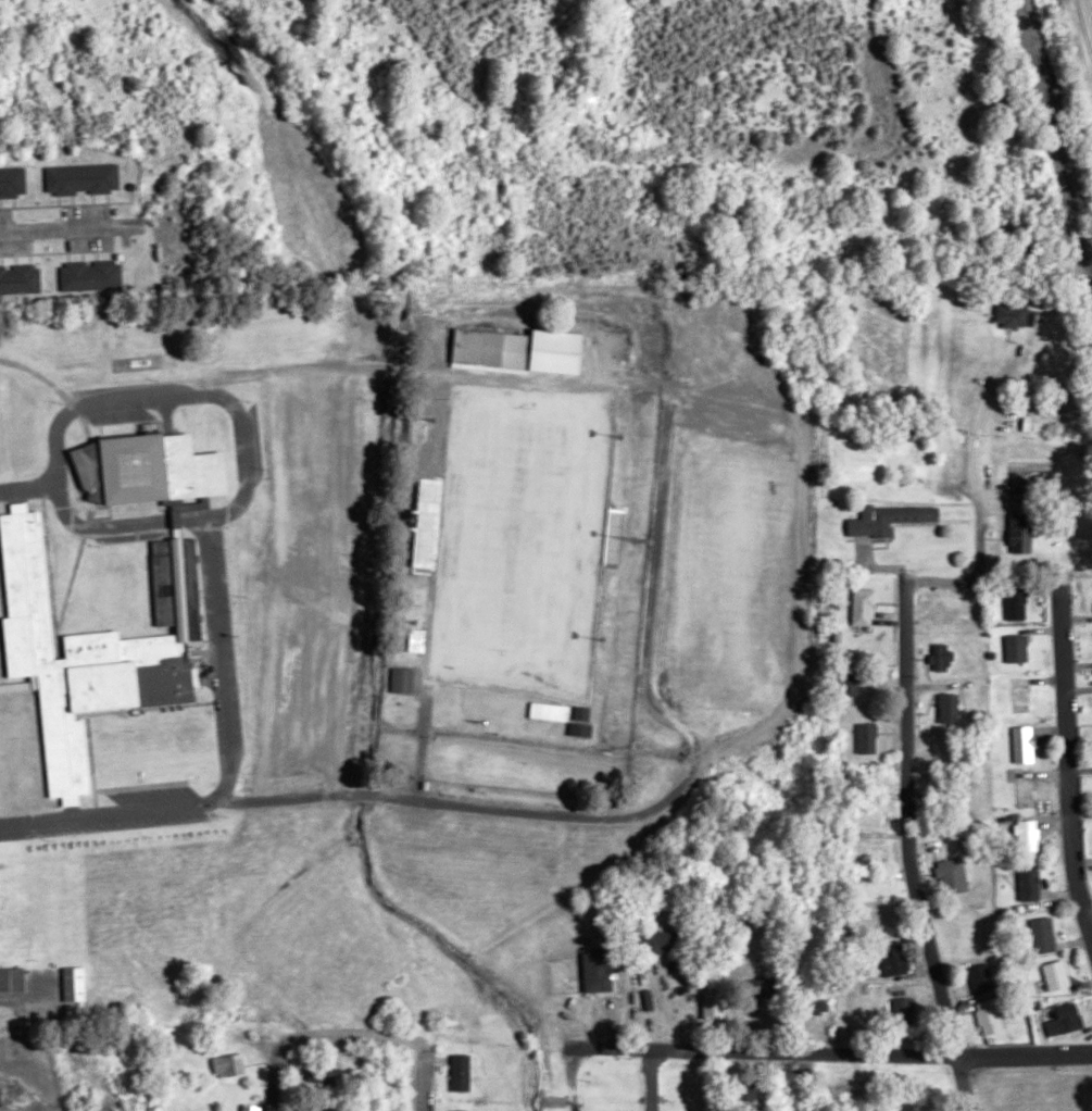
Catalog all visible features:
railway: (1055, 143)
building: (81, 179)
building: (12, 183)
road: (58, 233)
building: (90, 275)
building: (20, 279)
building: (1011, 316)
building: (477, 348)
road: (238, 437)
building: (152, 470)
road: (27, 486)
road: (969, 489)
building: (888, 517)
building: (427, 525)
building: (1020, 533)
building: (613, 535)
building: (1014, 601)
building: (862, 606)
building: (92, 648)
building: (1015, 648)
building: (940, 657)
building: (401, 681)
building: (849, 684)
building: (1019, 695)
building: (946, 708)
building: (580, 720)
building: (866, 738)
building: (1022, 744)
road: (227, 765)
road: (1066, 765)
building: (1024, 789)
building: (1027, 837)
road: (908, 850)
building: (951, 875)
building: (1028, 883)
building: (1042, 935)
building: (657, 941)
building: (893, 960)
building: (599, 970)
building: (1055, 975)
building: (12, 978)
building: (979, 978)
building: (73, 984)
building: (762, 987)
building: (817, 1002)
building: (710, 1003)
building: (902, 1010)
building: (988, 1016)
building: (1064, 1020)
road: (837, 1053)
building: (228, 1065)
building: (460, 1072)
building: (326, 1076)
road: (274, 1081)
road: (423, 1083)
building: (742, 1094)
building: (0, 1104)
building: (251, 1108)
building: (460, 1110)

